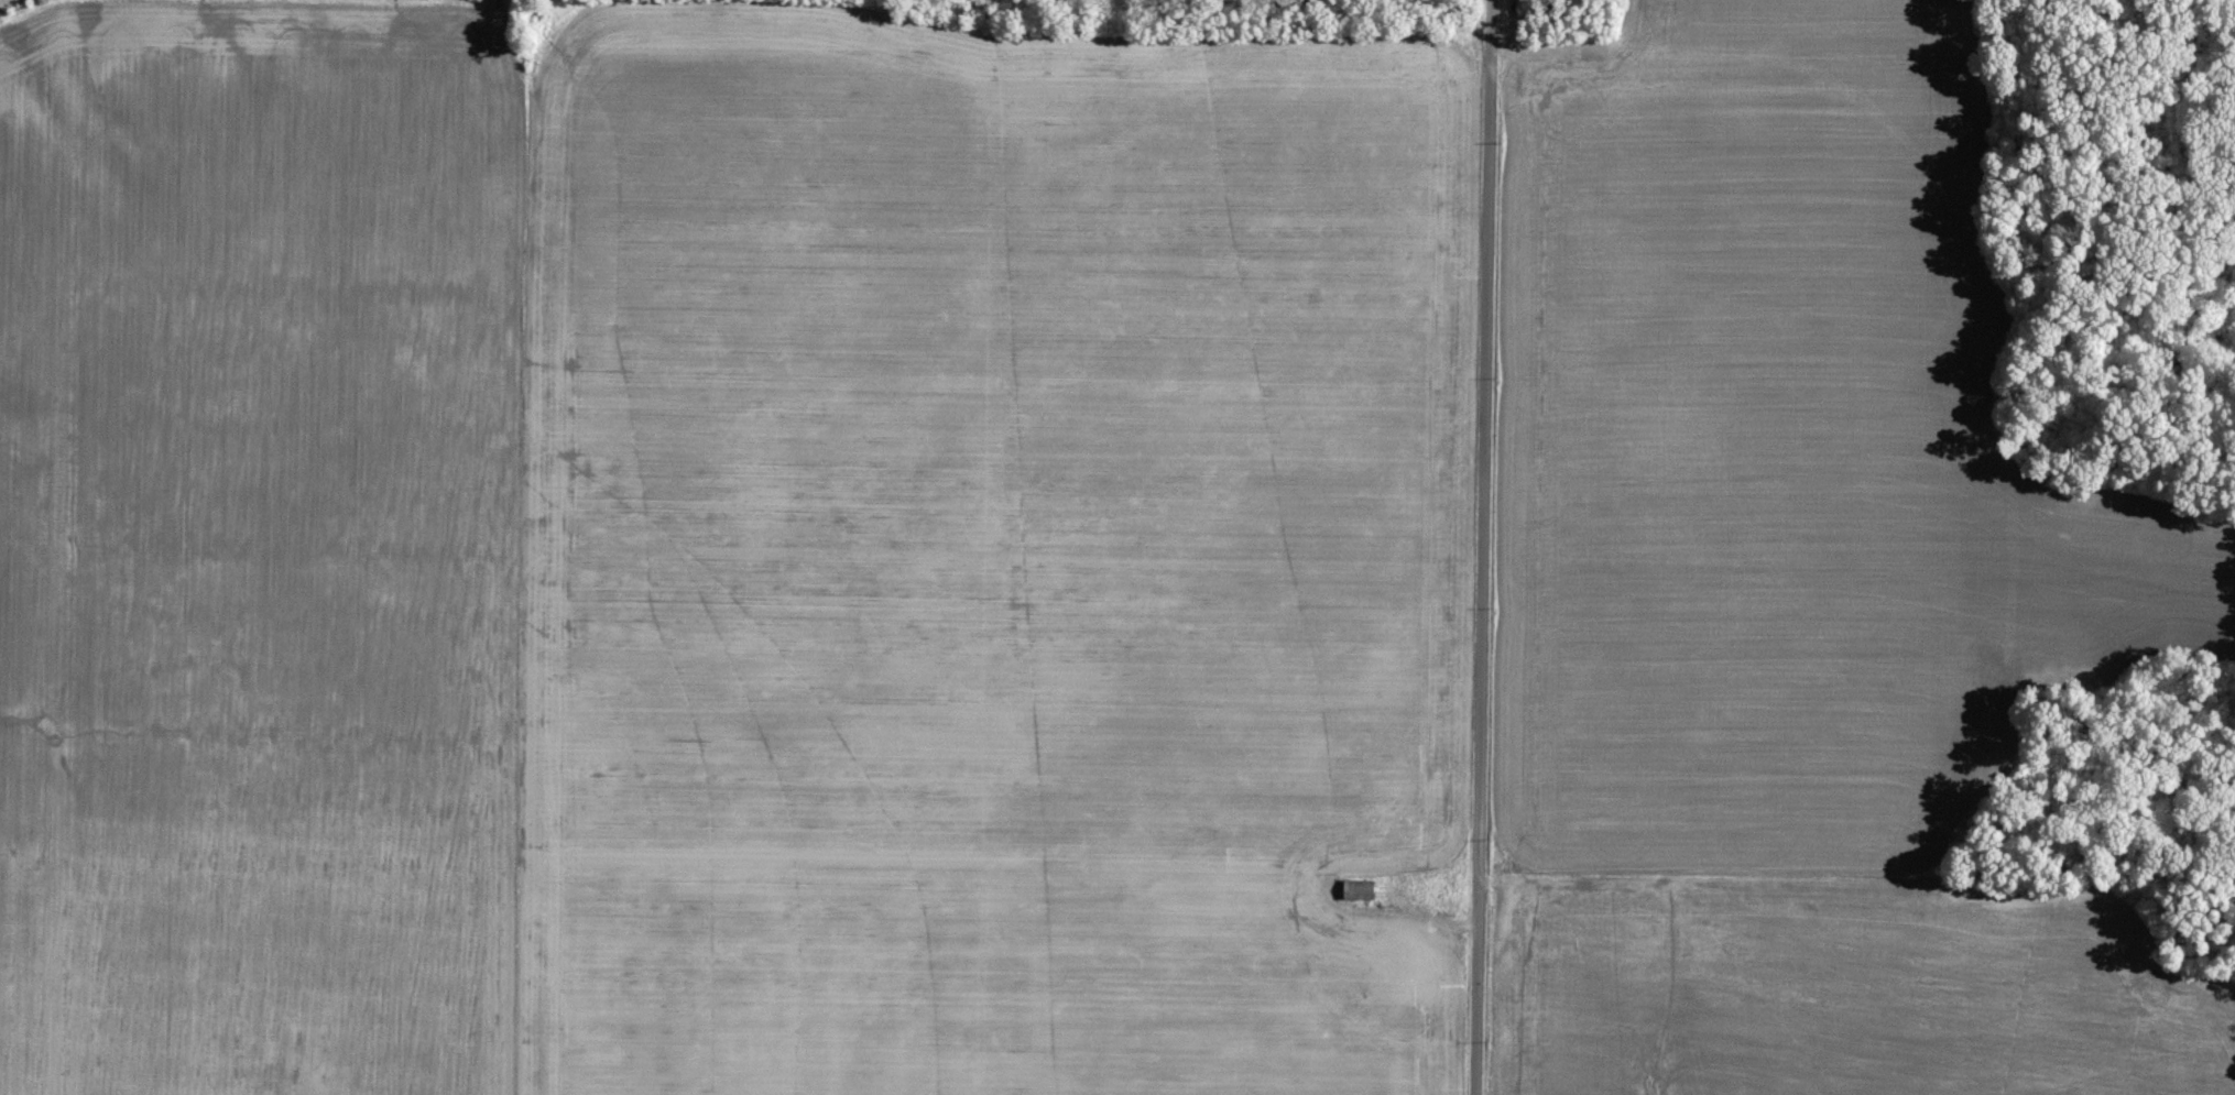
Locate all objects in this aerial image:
road: (1479, 547)

